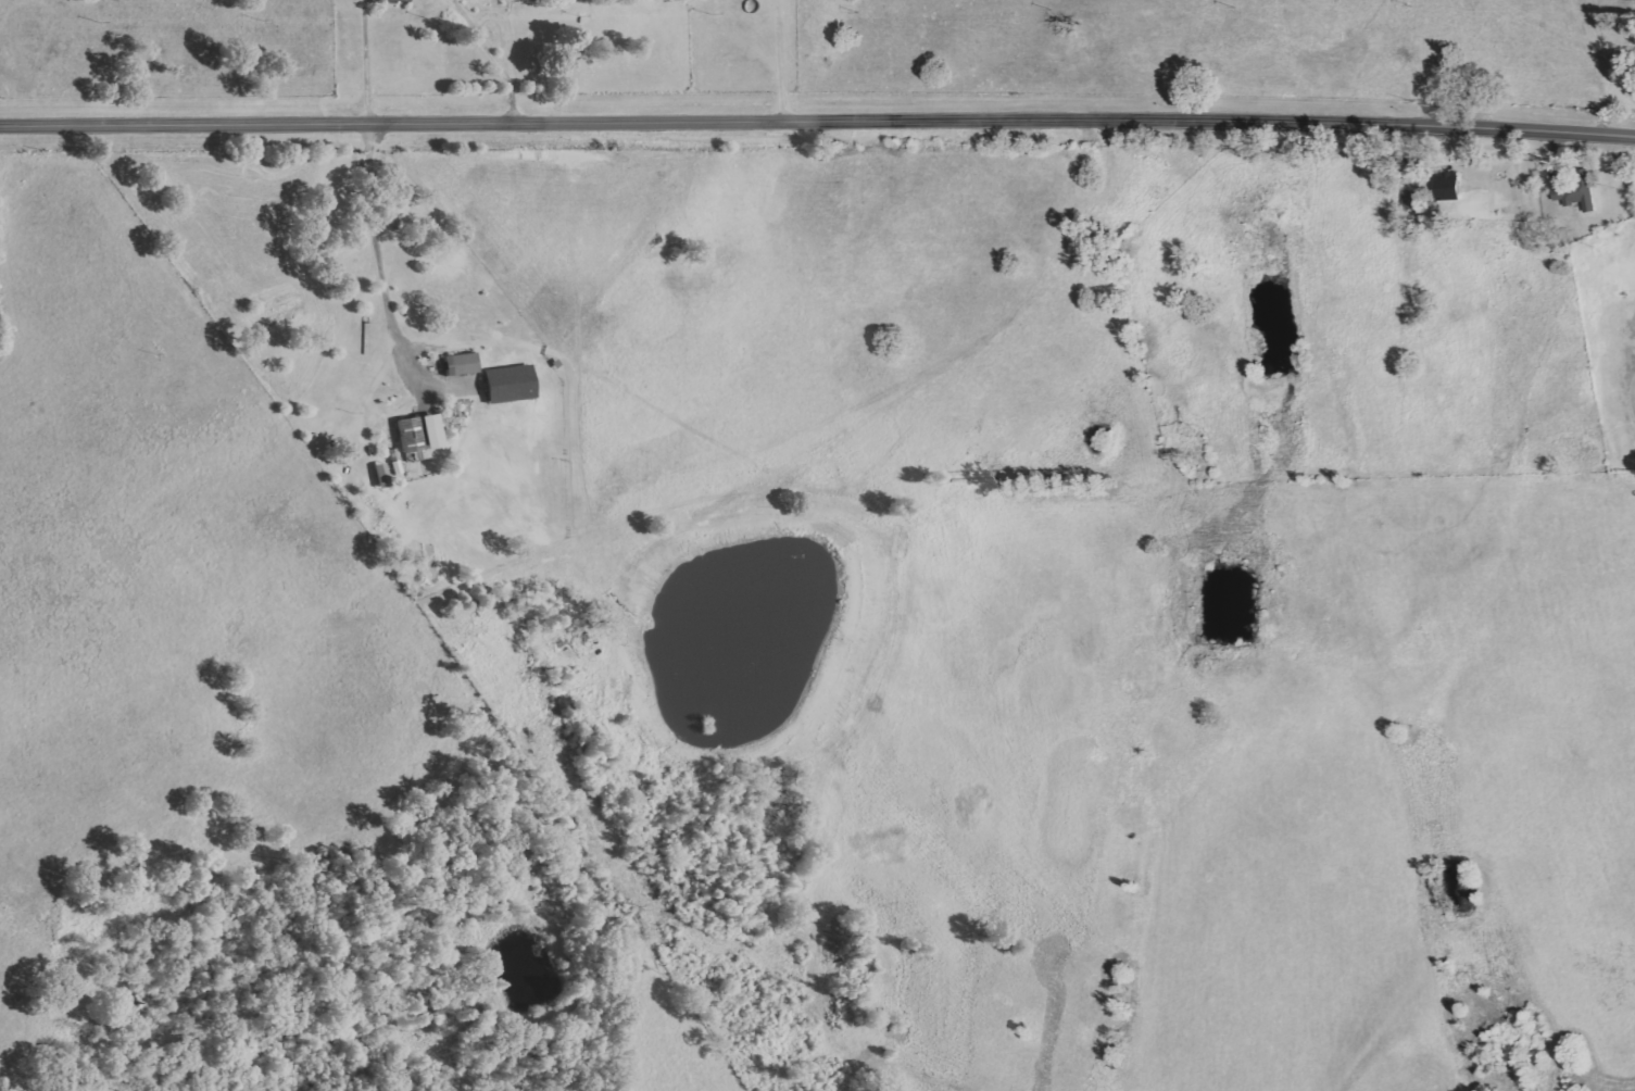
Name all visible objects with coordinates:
road: (817, 114)
building: (1446, 186)
building: (1574, 192)
building: (462, 362)
building: (505, 385)
building: (415, 434)

